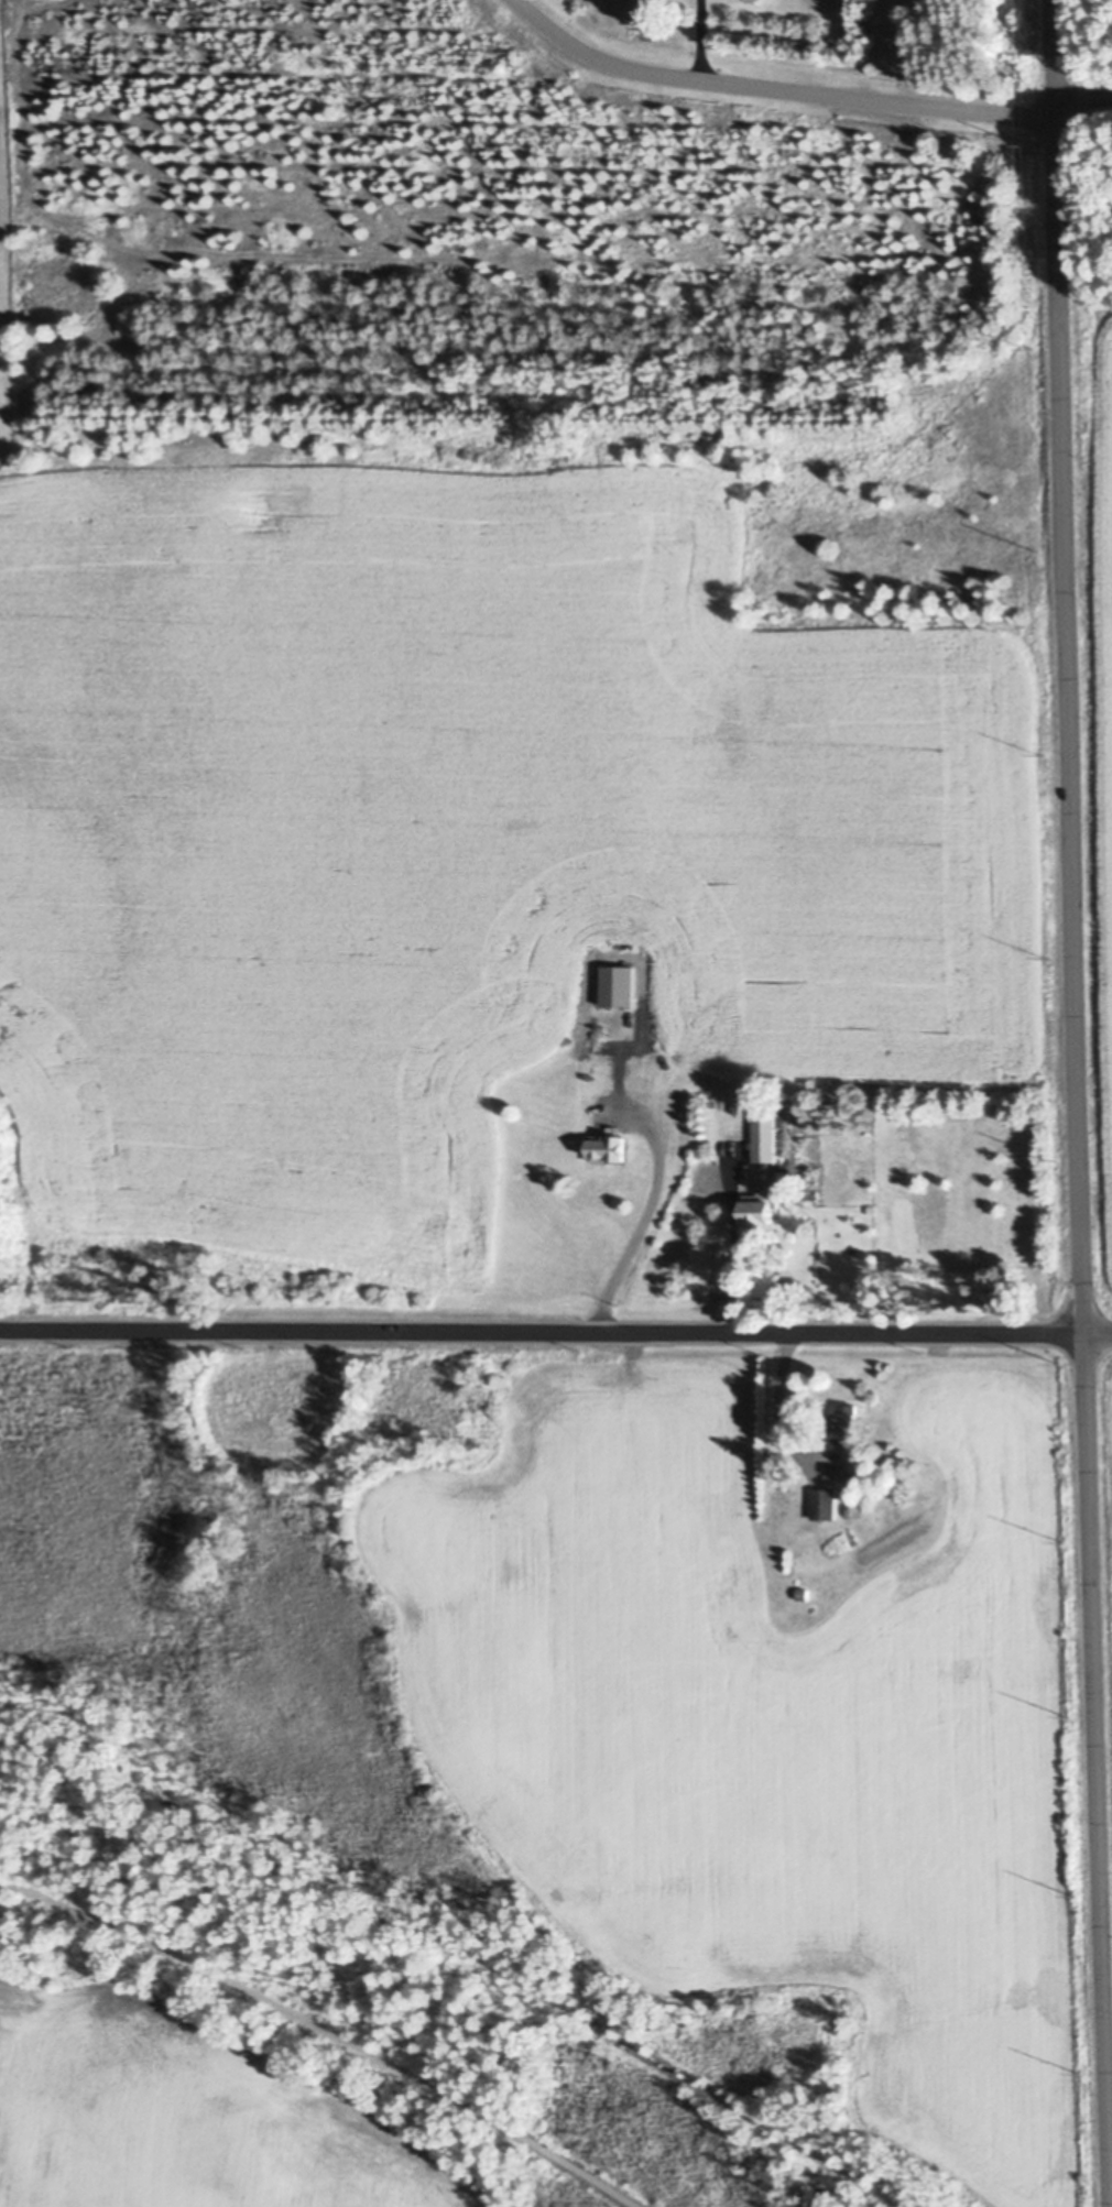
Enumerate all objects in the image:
building: (643, 10)
road: (696, 40)
road: (773, 87)
road: (1082, 98)
building: (618, 987)
road: (1077, 1103)
building: (763, 1137)
building: (607, 1149)
building: (757, 1210)
road: (642, 1224)
road: (733, 1249)
road: (555, 1331)
road: (780, 1402)
building: (843, 1429)
building: (822, 1505)
road: (451, 1941)
road: (324, 2028)

